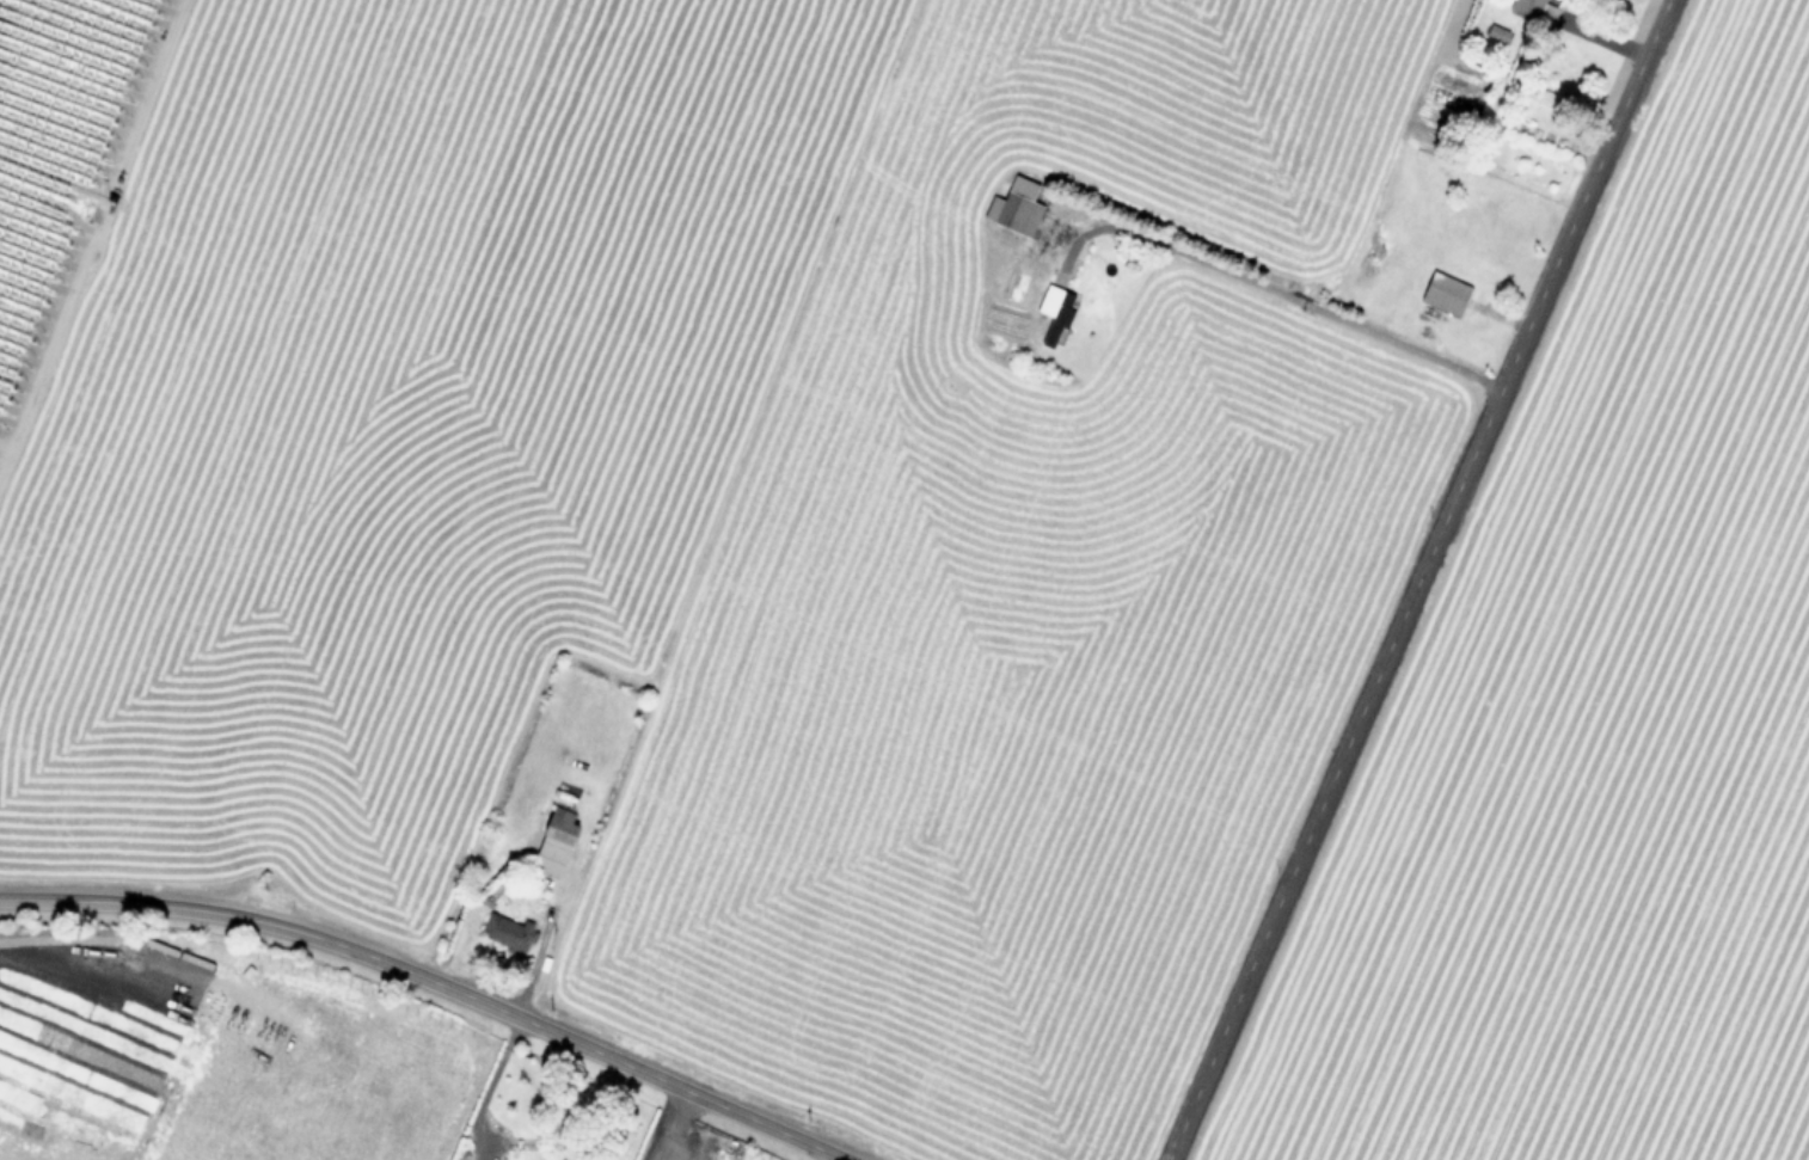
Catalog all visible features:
building: (1537, 8)
building: (1013, 208)
road: (1276, 290)
building: (1443, 294)
building: (1051, 315)
crop: (953, 539)
road: (1417, 579)
building: (552, 841)
building: (505, 933)
road: (435, 982)
crop: (271, 1070)
road: (486, 1086)
road: (666, 1123)
road: (661, 1155)

